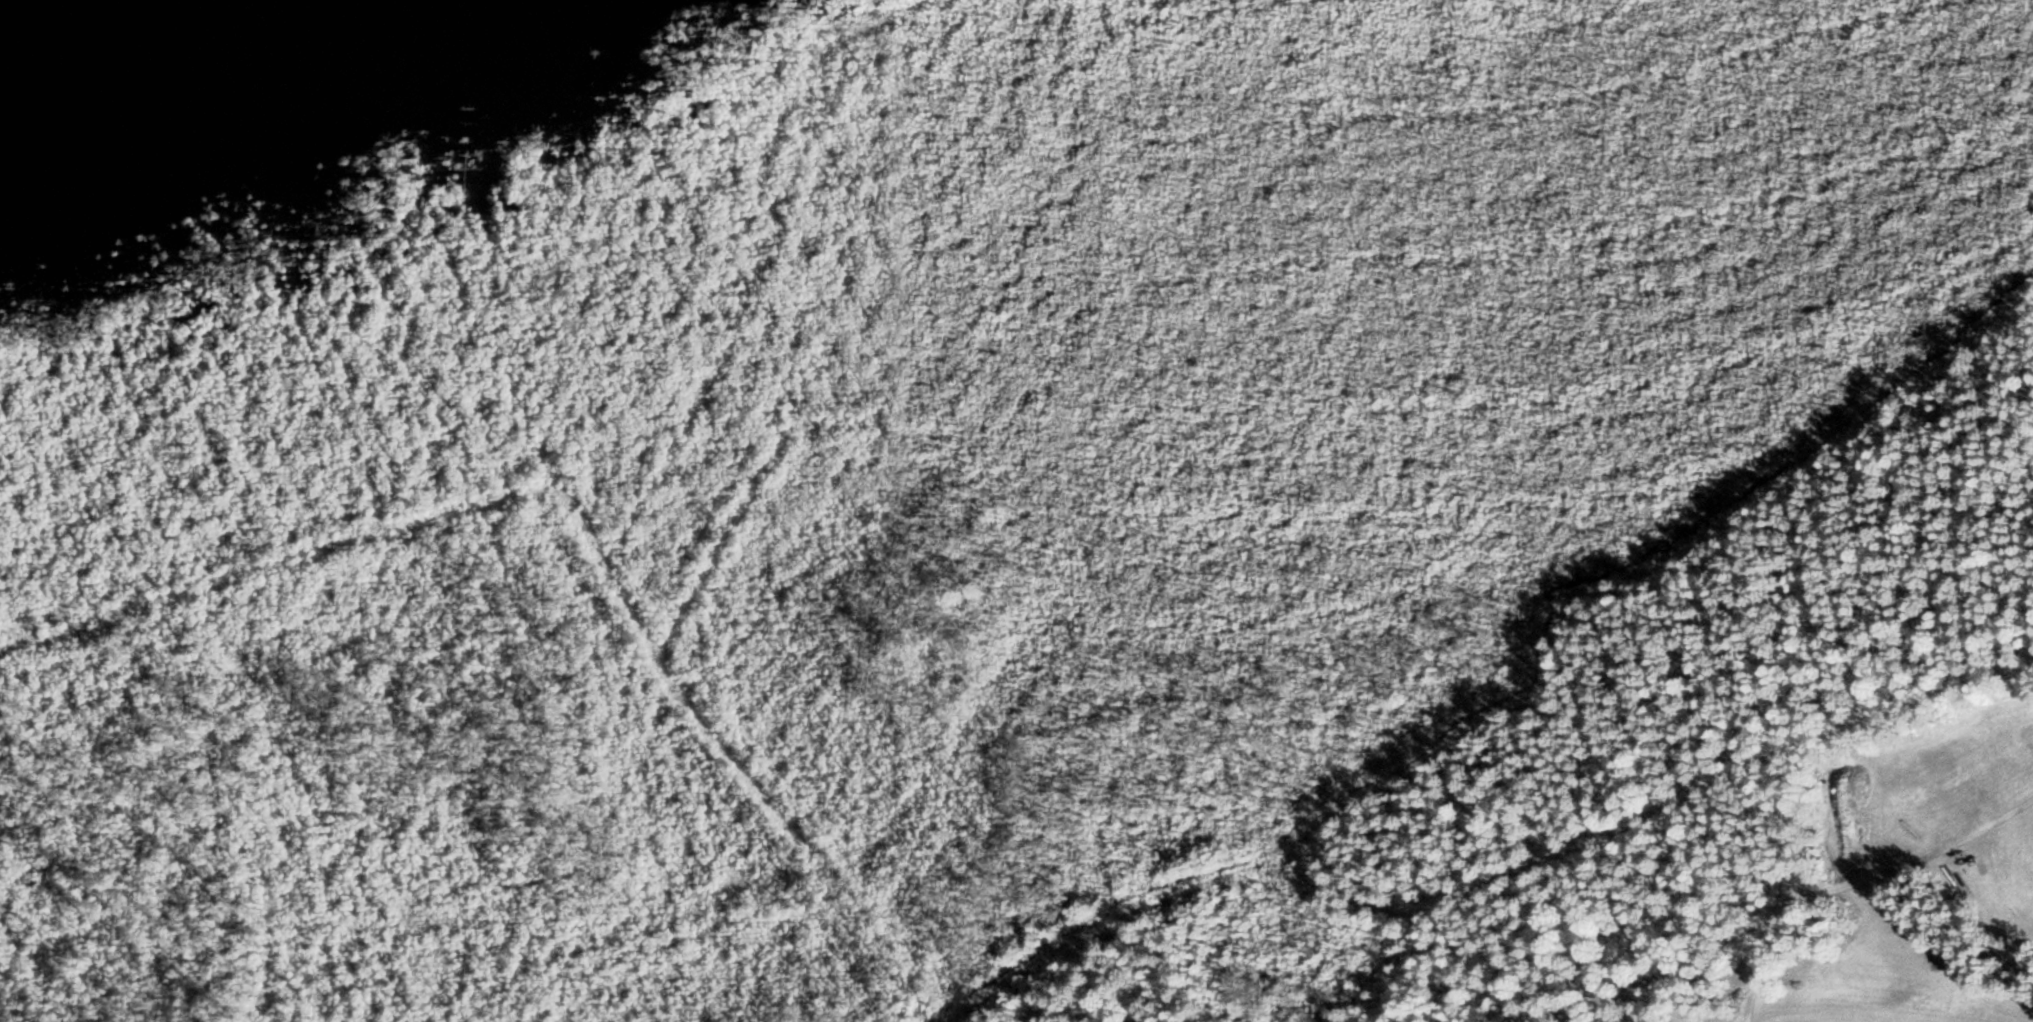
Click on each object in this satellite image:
road: (1867, 886)
road: (1785, 915)
road: (1868, 1007)

